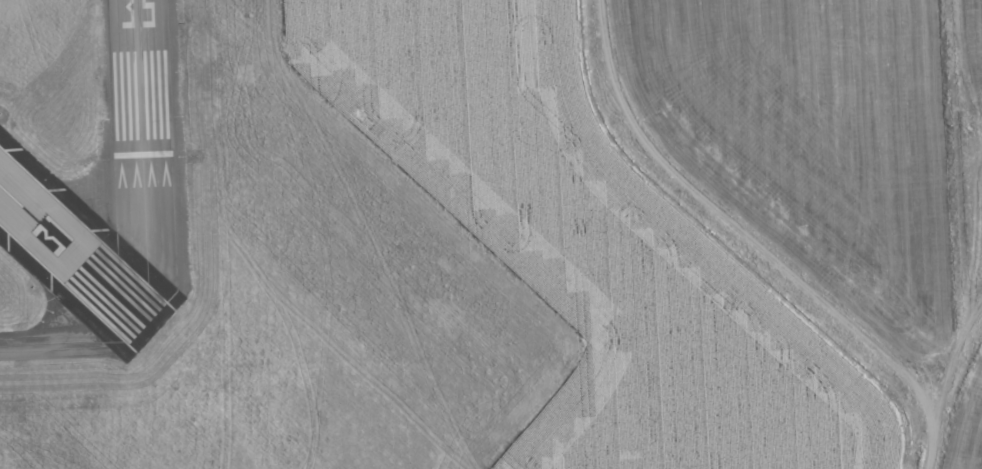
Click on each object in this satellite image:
airport runway: (140, 77)
airport taxiway: (145, 218)
road: (755, 244)
airport runway: (73, 255)
airport: (375, 256)
airport taxiway: (120, 312)
airport taxiway: (46, 343)
road: (950, 365)

